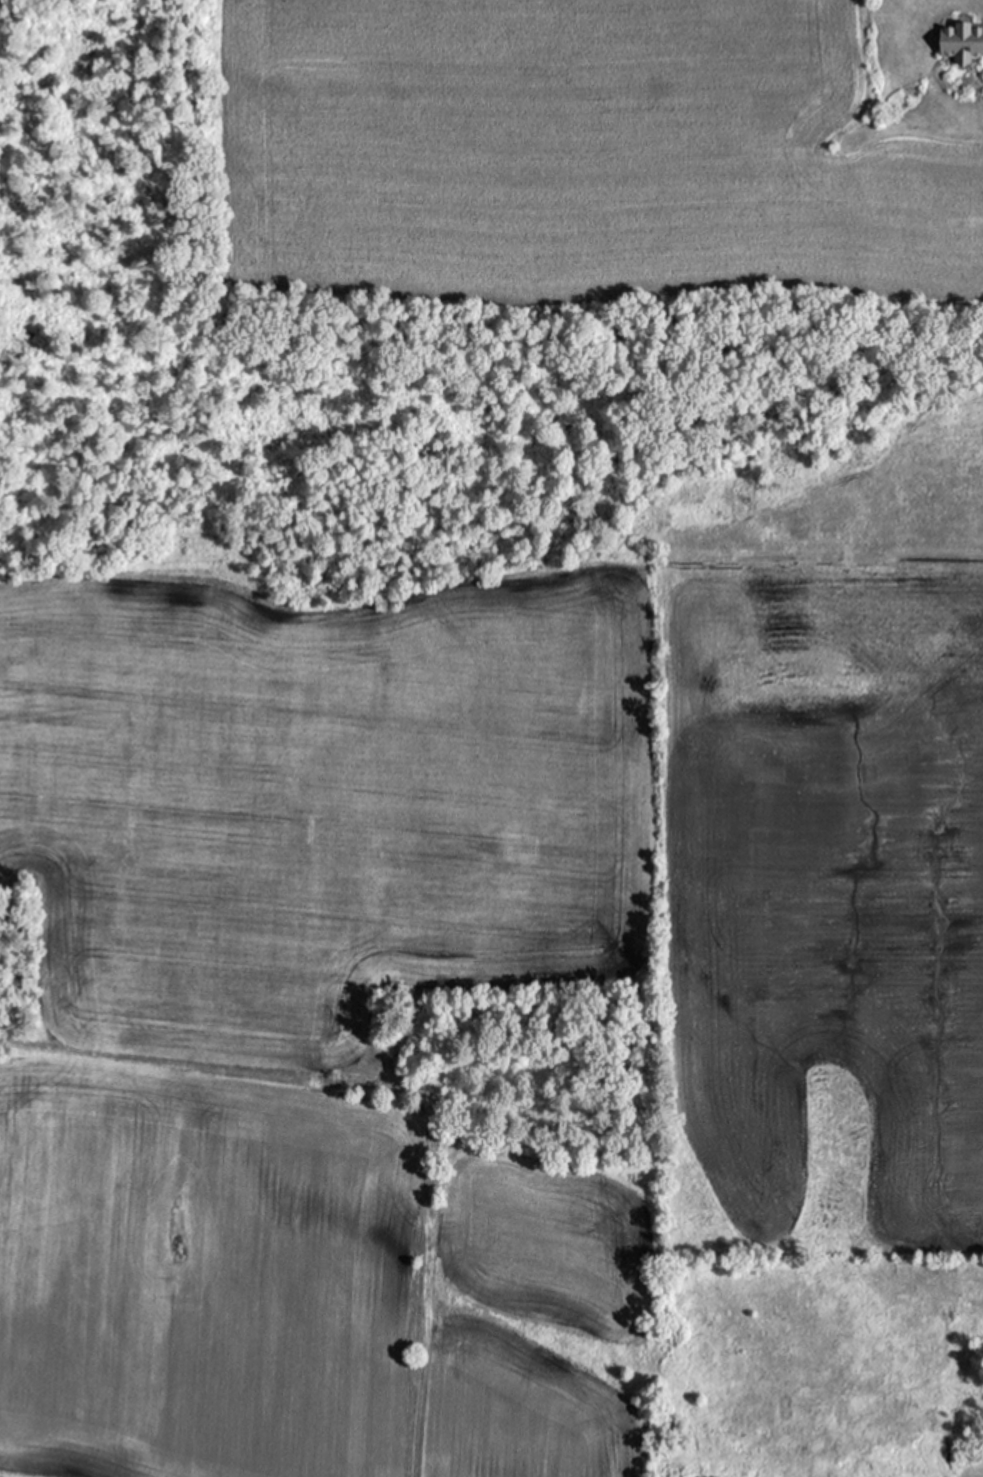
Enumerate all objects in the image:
building: (959, 43)
road: (980, 1467)

